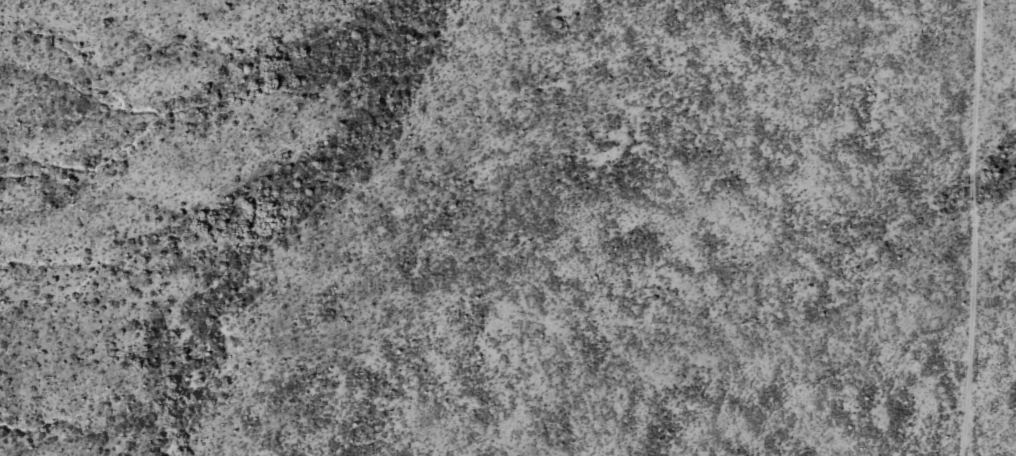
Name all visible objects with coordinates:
road: (984, 227)

